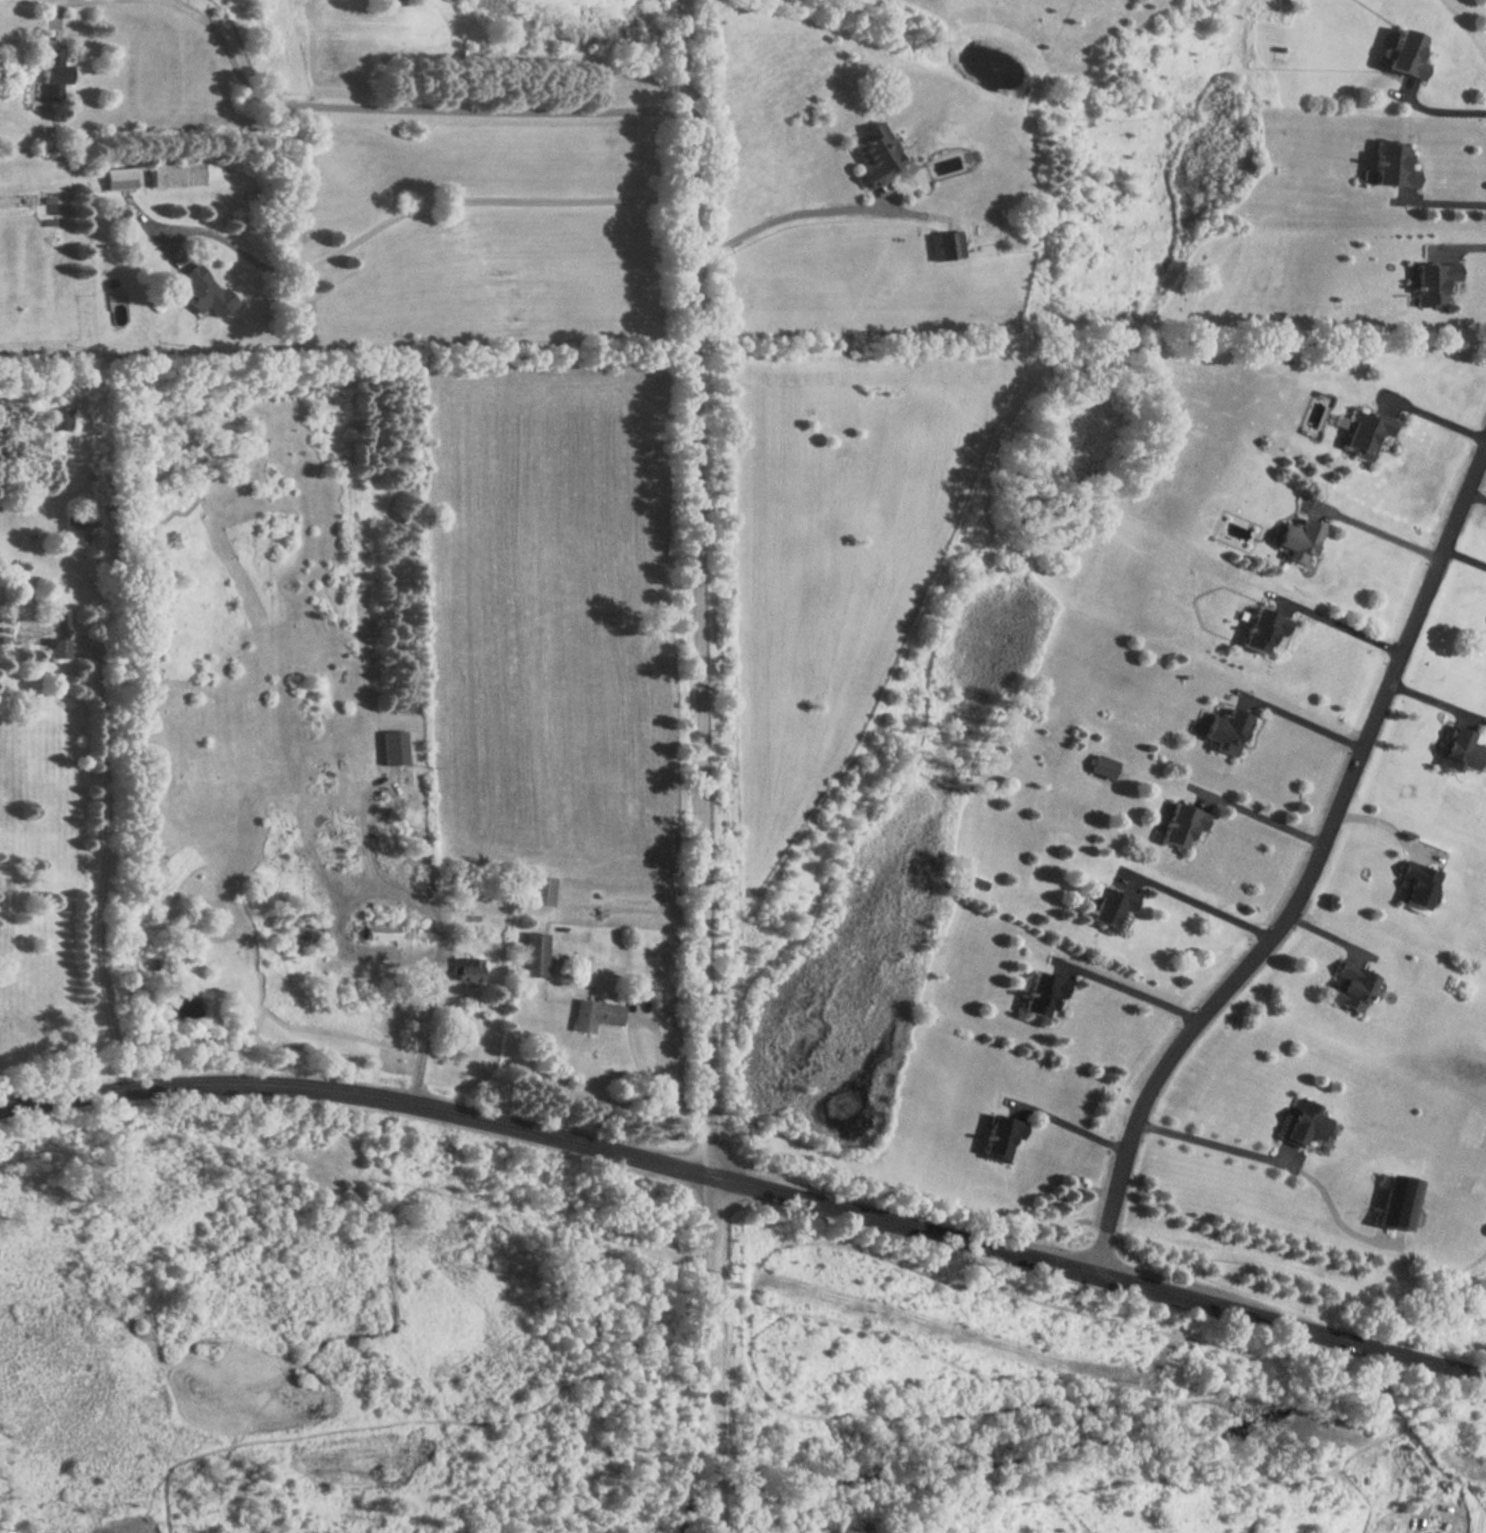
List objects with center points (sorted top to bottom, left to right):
road: (54, 13)
building: (1407, 56)
building: (52, 73)
road: (397, 108)
road: (1440, 110)
building: (877, 154)
building: (1393, 167)
building: (119, 179)
road: (1444, 202)
road: (419, 211)
road: (783, 217)
road: (1460, 241)
building: (938, 247)
building: (1435, 283)
building: (203, 293)
building: (117, 311)
road: (1435, 415)
building: (1368, 434)
road: (1373, 529)
building: (1300, 537)
road: (1336, 625)
building: (1263, 632)
building: (44, 636)
road: (1301, 720)
building: (1227, 730)
building: (1459, 750)
road: (704, 766)
building: (1104, 767)
road: (1259, 814)
building: (1183, 824)
road: (1384, 824)
road: (104, 871)
road: (1311, 875)
building: (1418, 883)
building: (540, 891)
road: (1200, 903)
building: (1111, 908)
road: (435, 921)
building: (382, 931)
road: (345, 947)
building: (534, 954)
building: (467, 970)
building: (1352, 986)
road: (1126, 987)
building: (1043, 995)
building: (594, 1014)
road: (654, 1028)
road: (359, 1094)
building: (1306, 1123)
road: (1067, 1124)
building: (1003, 1137)
road: (1207, 1142)
building: (1398, 1201)
road: (1098, 1277)

